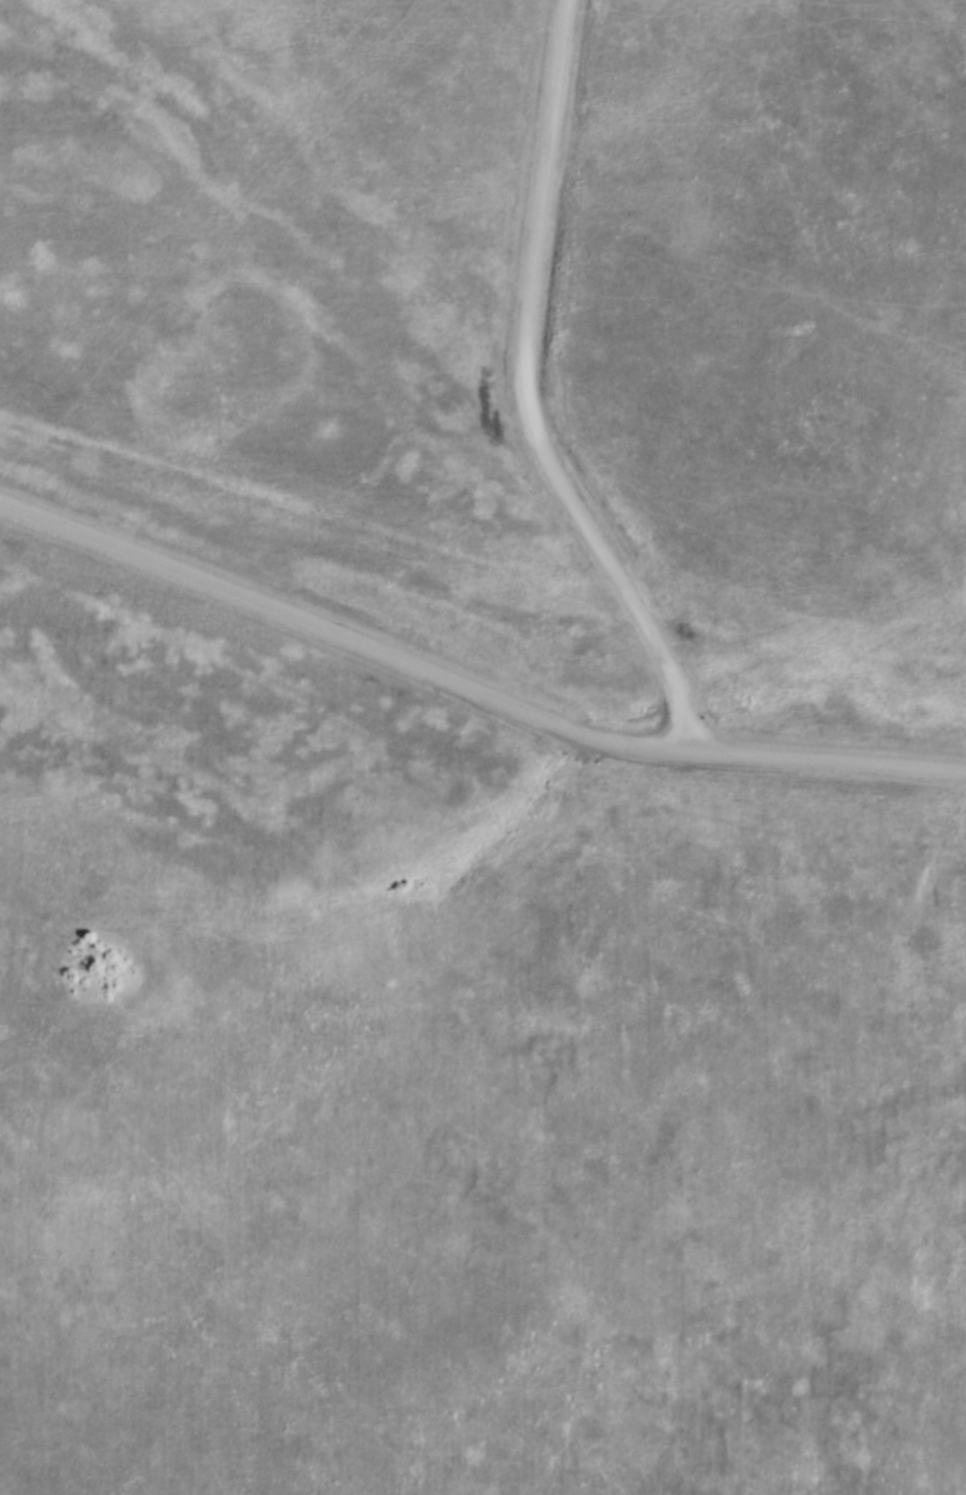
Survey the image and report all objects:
road: (518, 397)
road: (471, 692)

